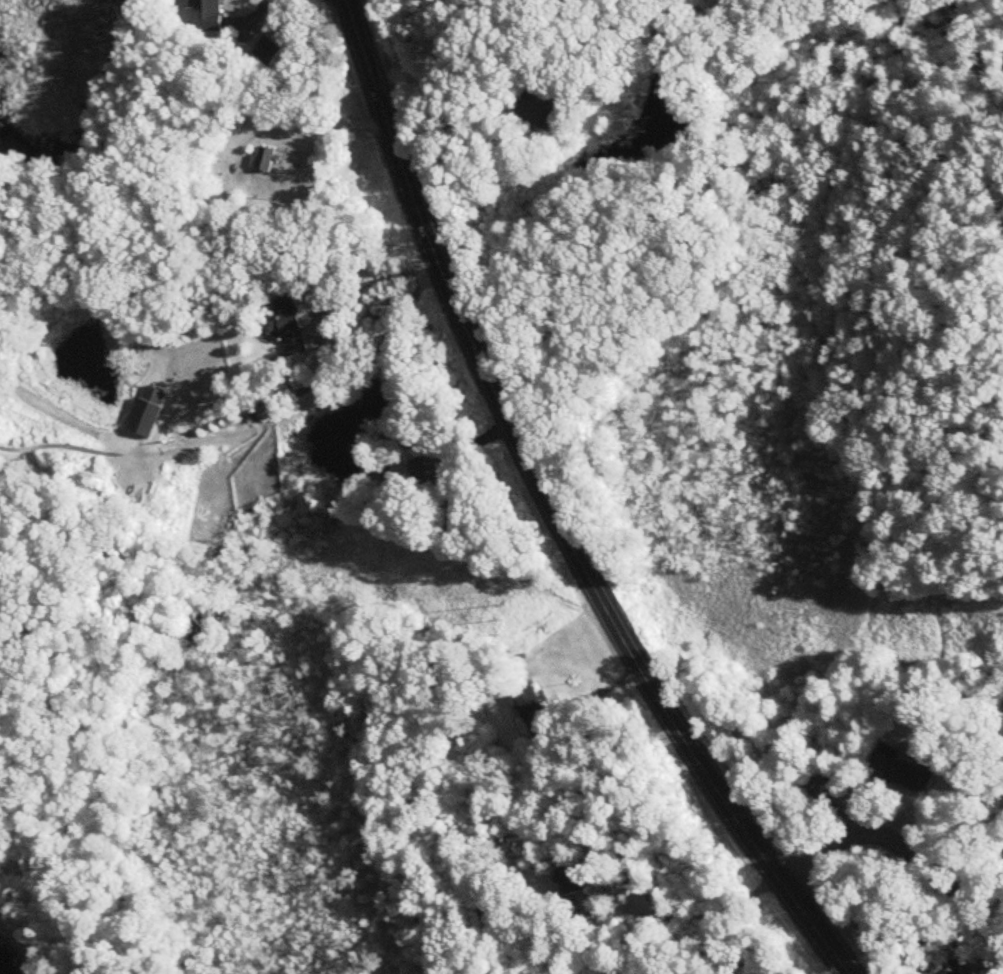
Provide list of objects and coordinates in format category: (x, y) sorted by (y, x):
building: (209, 14)
road: (252, 17)
building: (547, 105)
road: (446, 111)
road: (329, 123)
building: (265, 160)
road: (370, 287)
building: (290, 326)
road: (381, 336)
building: (149, 413)
building: (265, 415)
building: (424, 470)
road: (554, 509)
building: (451, 517)
power tower: (503, 611)
building: (532, 710)
building: (904, 771)
building: (822, 788)
road: (904, 847)
building: (570, 880)
building: (499, 910)
road: (686, 916)
road: (1002, 929)

